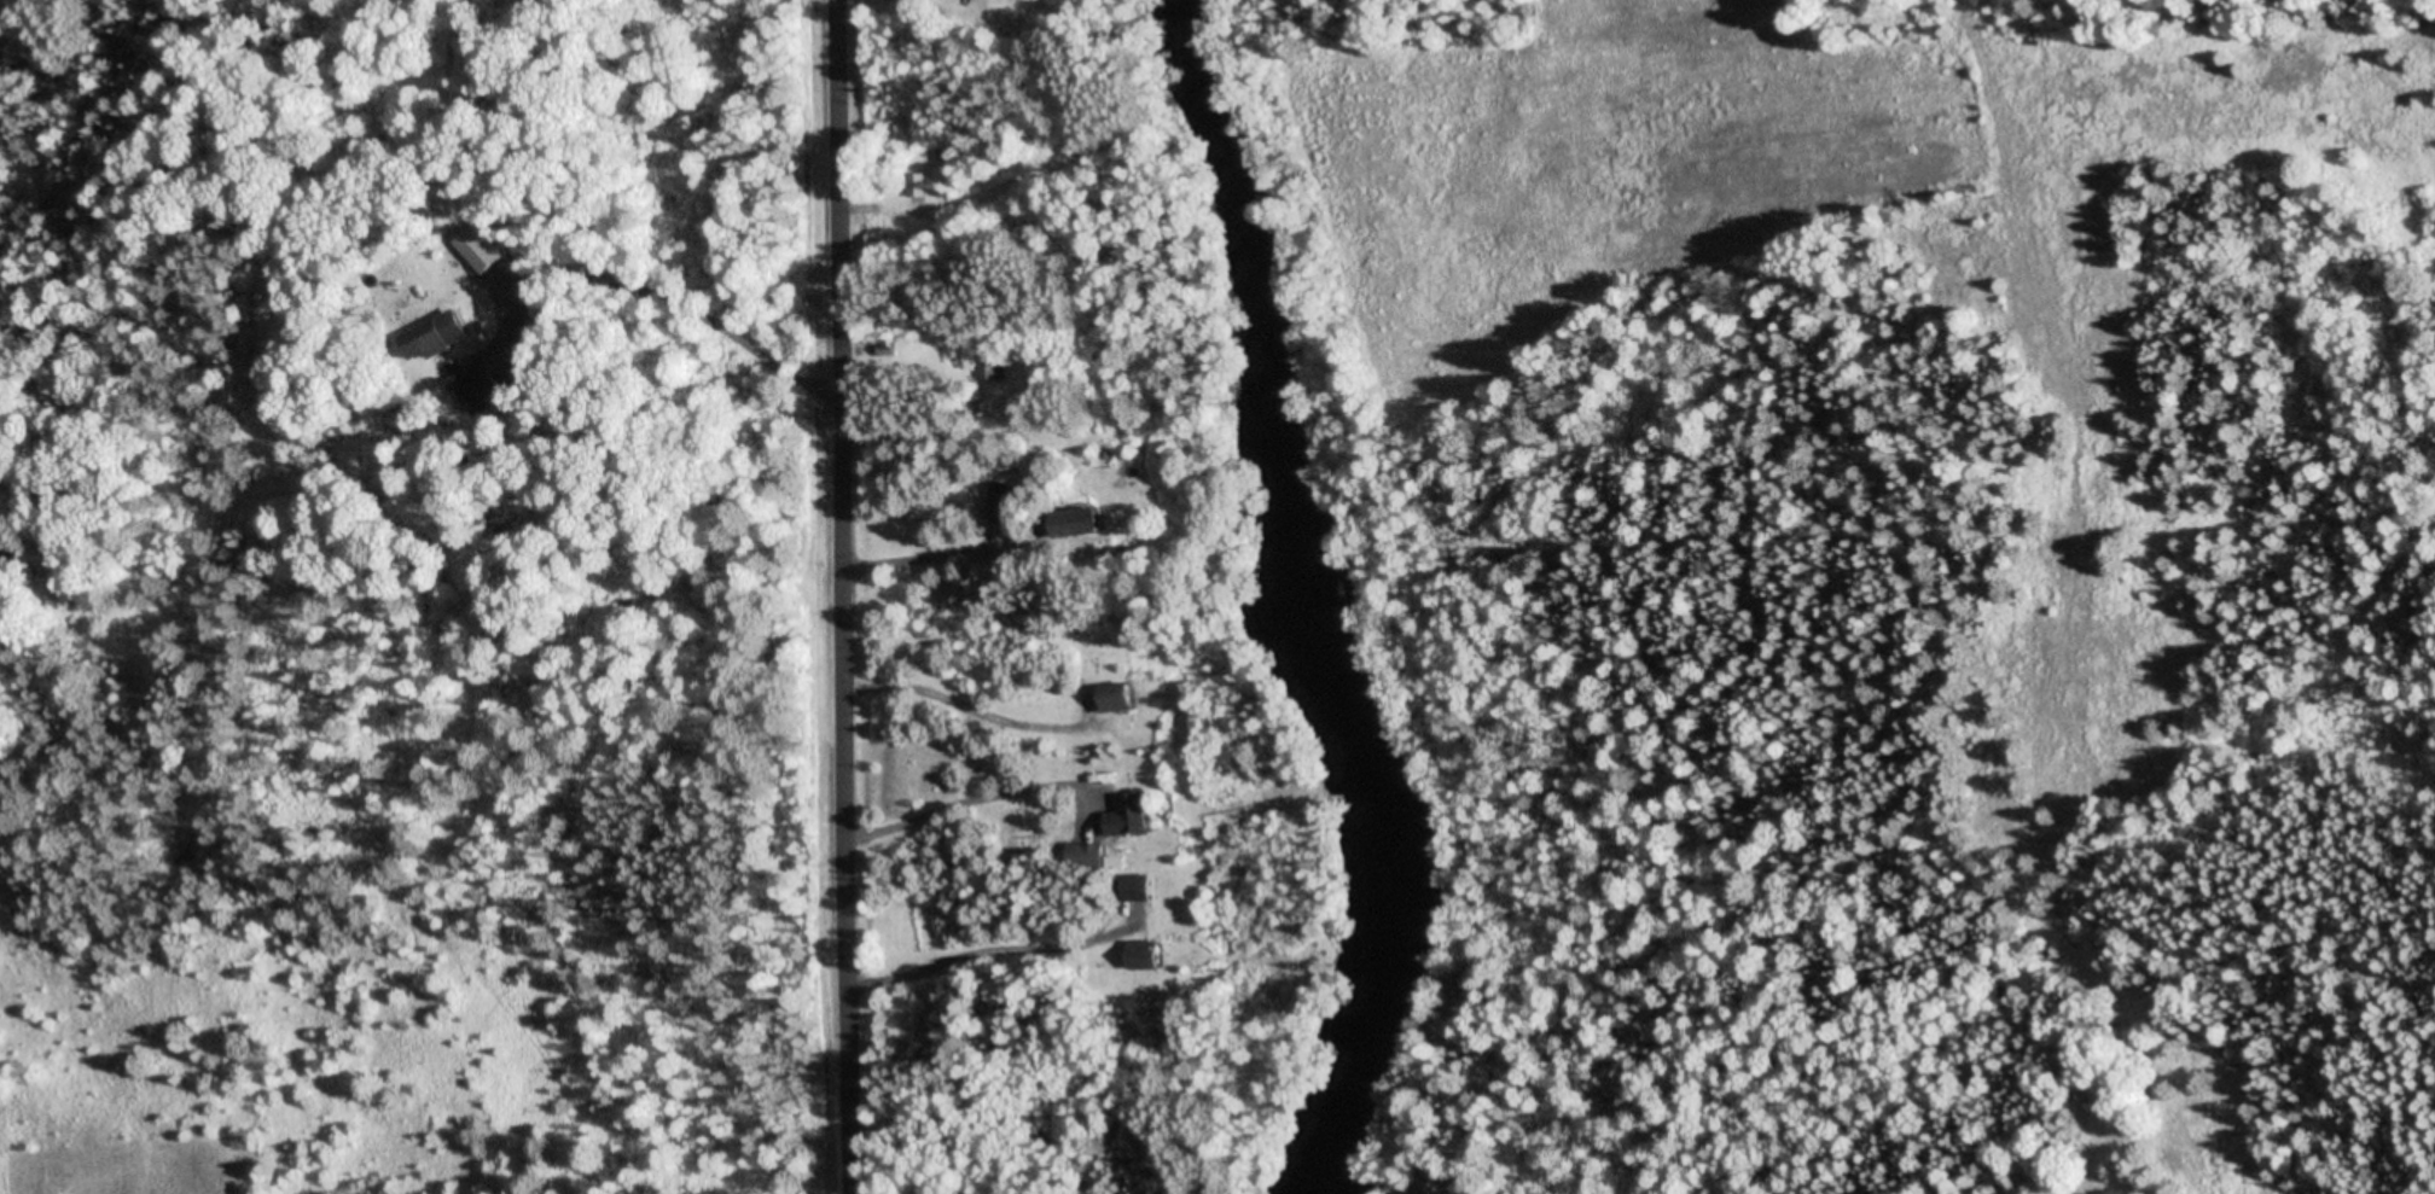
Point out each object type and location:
building: (920, 185)
building: (452, 334)
building: (992, 365)
building: (1005, 502)
building: (1083, 522)
river: (1307, 595)
road: (849, 596)
building: (1121, 698)
building: (1134, 817)
building: (1096, 857)
building: (1140, 890)
building: (1151, 956)

